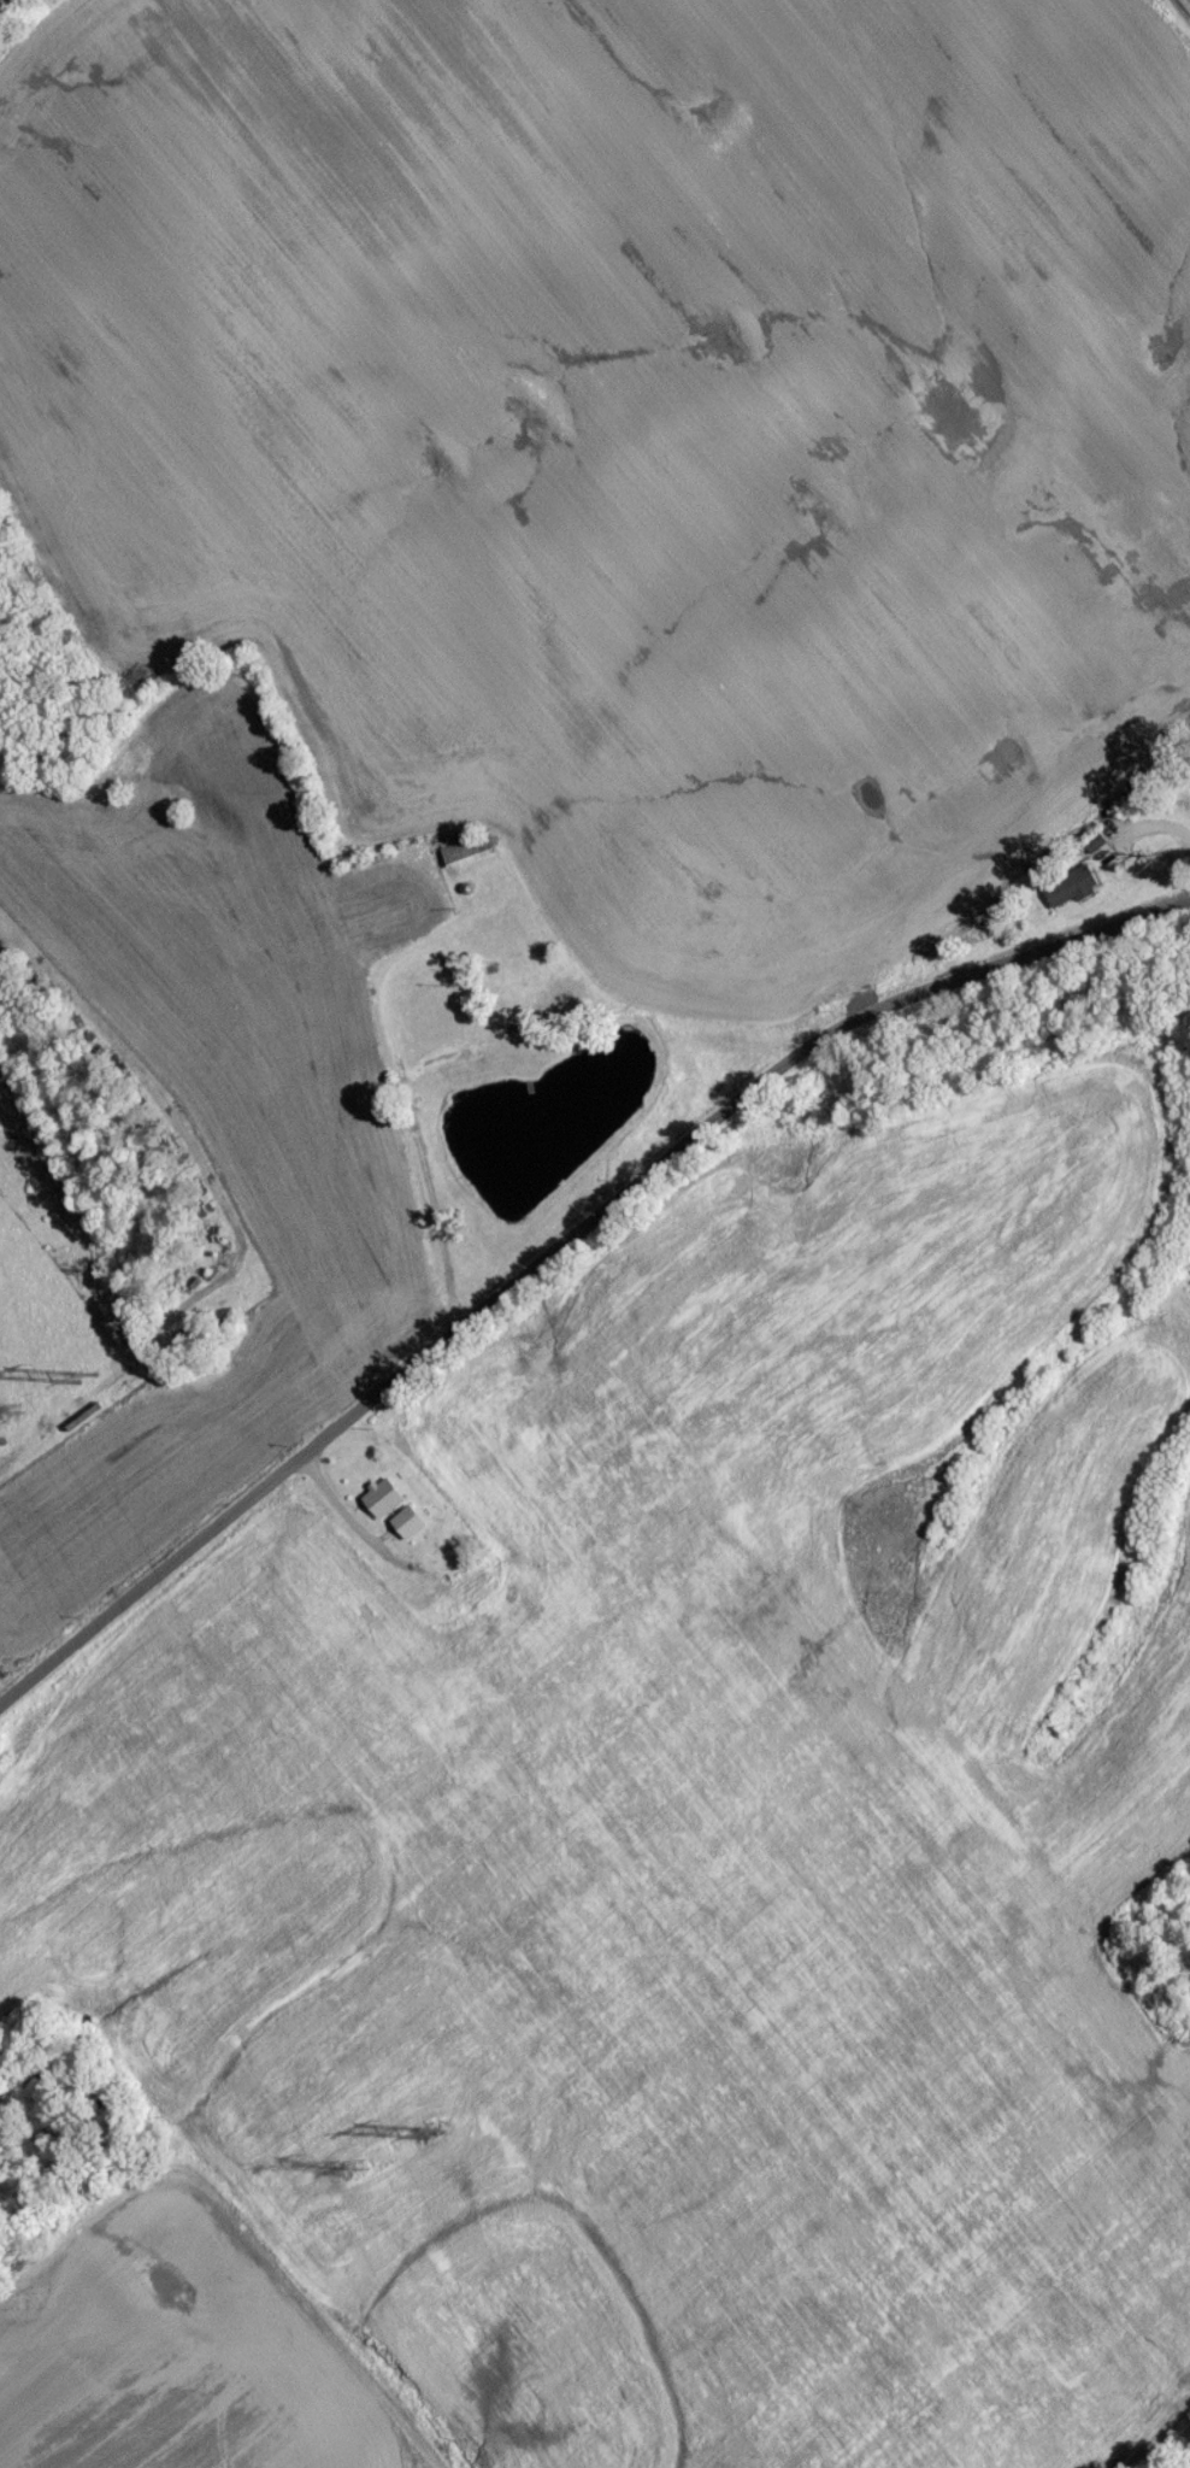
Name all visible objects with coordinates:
road: (1178, 13)
building: (471, 858)
building: (1076, 895)
building: (0, 958)
road: (425, 1163)
road: (560, 1245)
power tower: (89, 1385)
power tower: (17, 1420)
road: (337, 1505)
building: (385, 1505)
building: (411, 1529)
power tower: (428, 2145)
power tower: (355, 2179)

